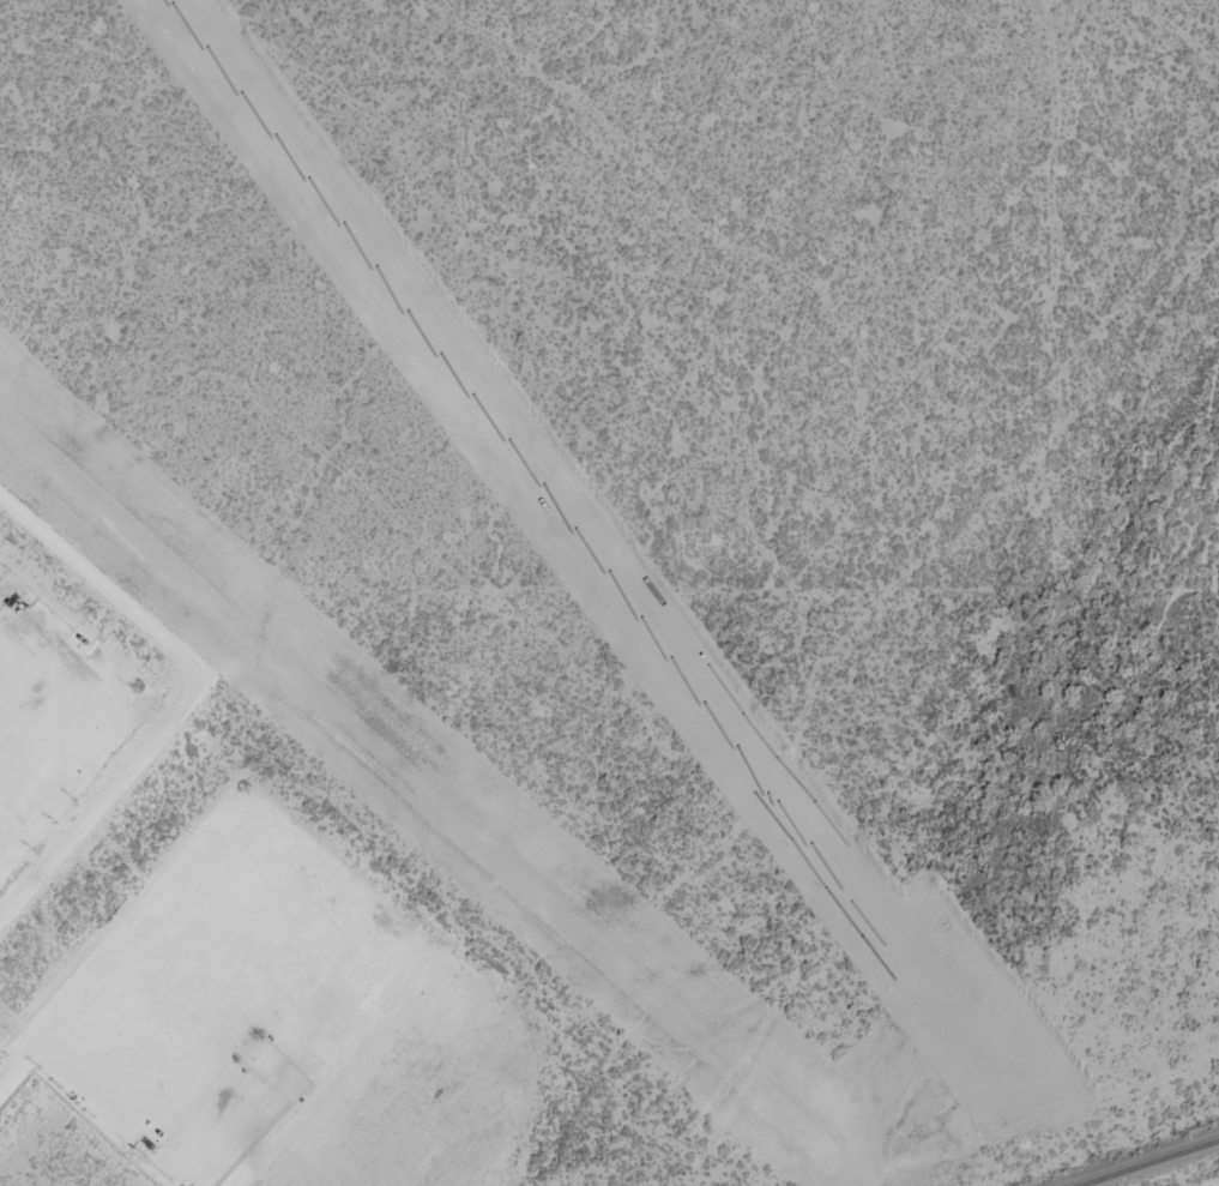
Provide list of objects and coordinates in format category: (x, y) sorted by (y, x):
railway: (1148, 1163)

